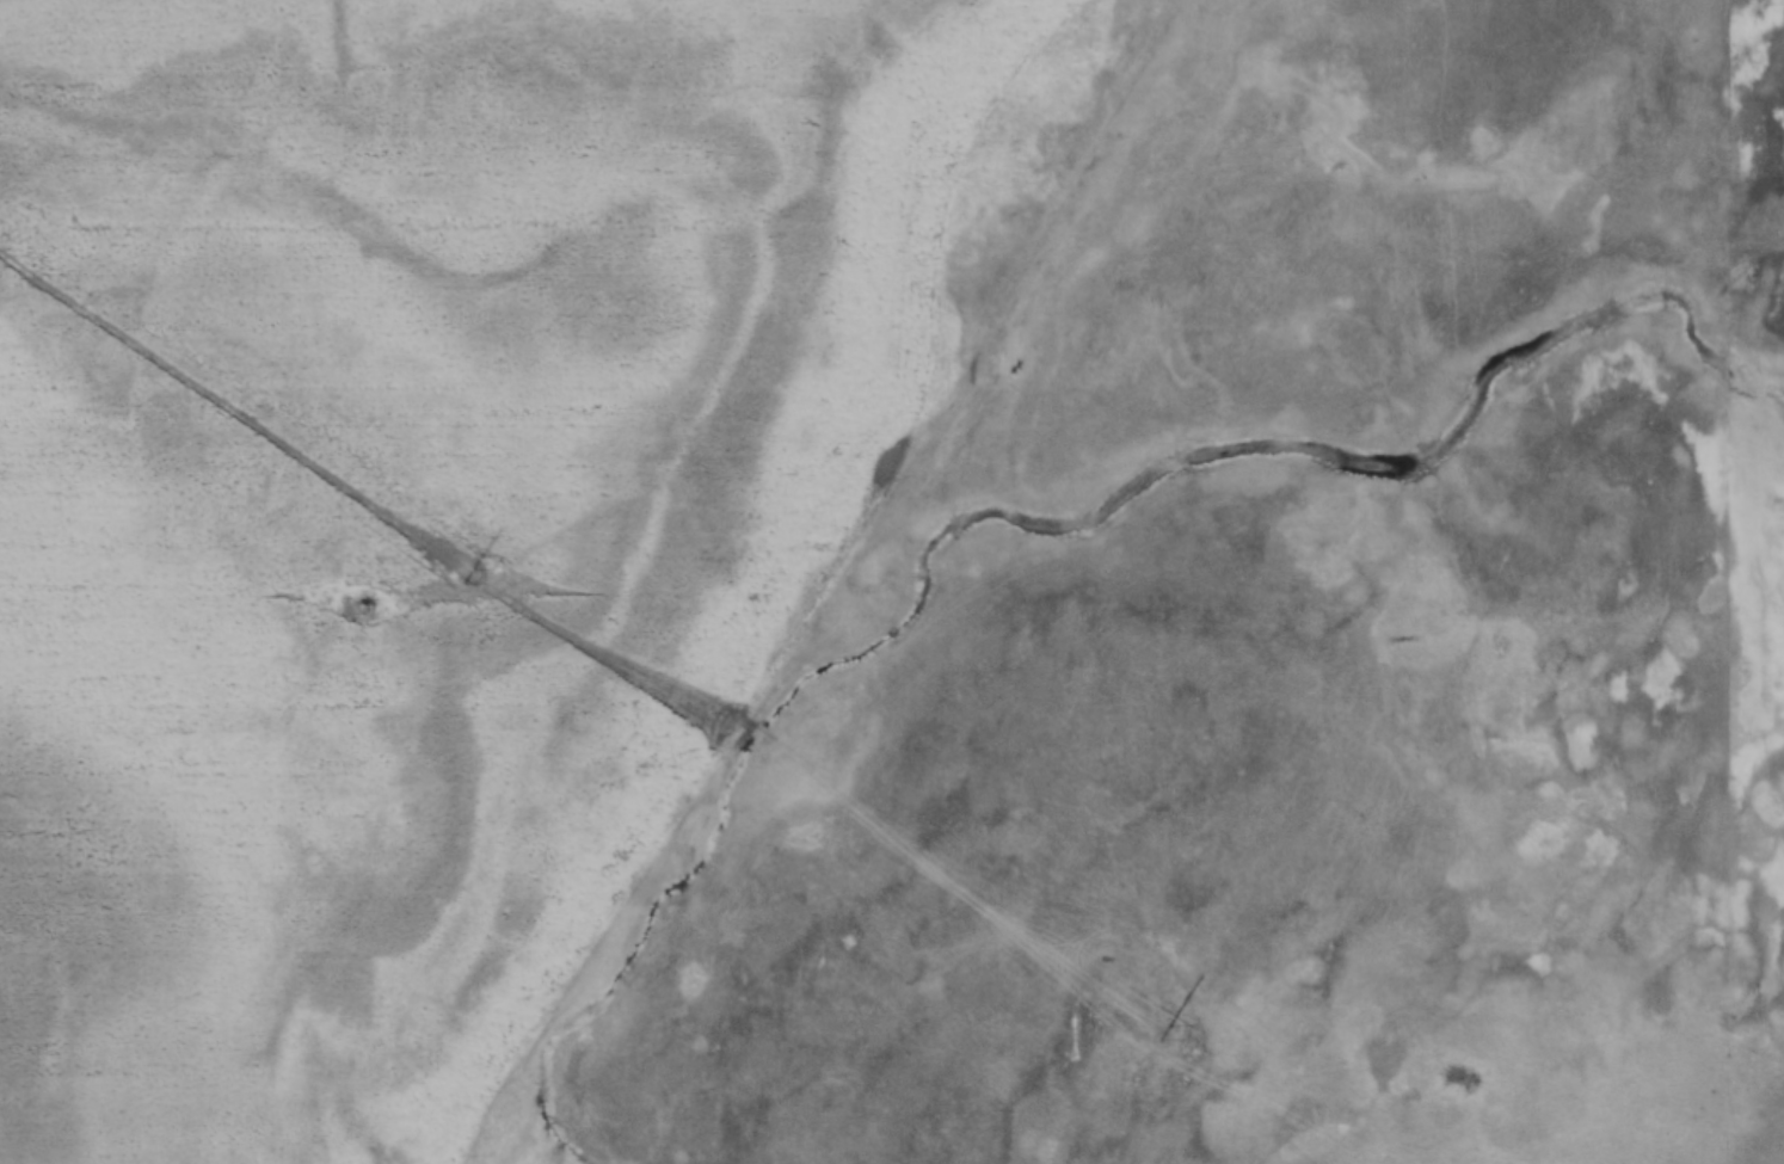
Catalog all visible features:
power tower: (485, 579)
power tower: (1169, 1034)

